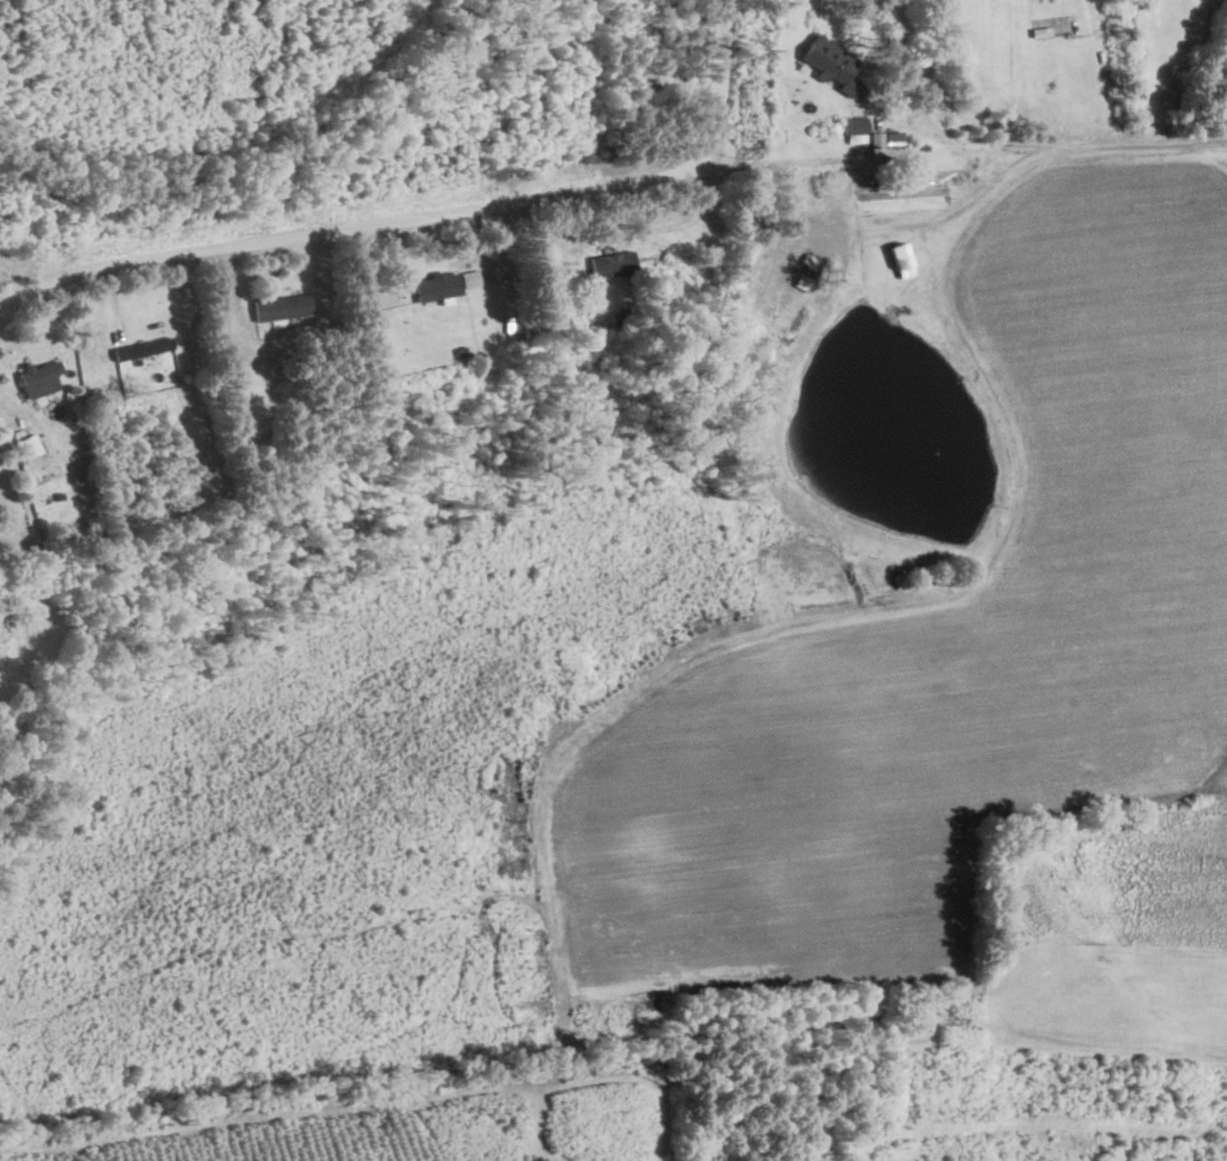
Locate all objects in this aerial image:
road: (916, 34)
building: (826, 64)
building: (850, 125)
road: (1023, 158)
road: (428, 217)
building: (895, 255)
building: (611, 263)
building: (469, 277)
building: (437, 284)
building: (281, 307)
building: (142, 347)
building: (38, 378)
building: (28, 445)

